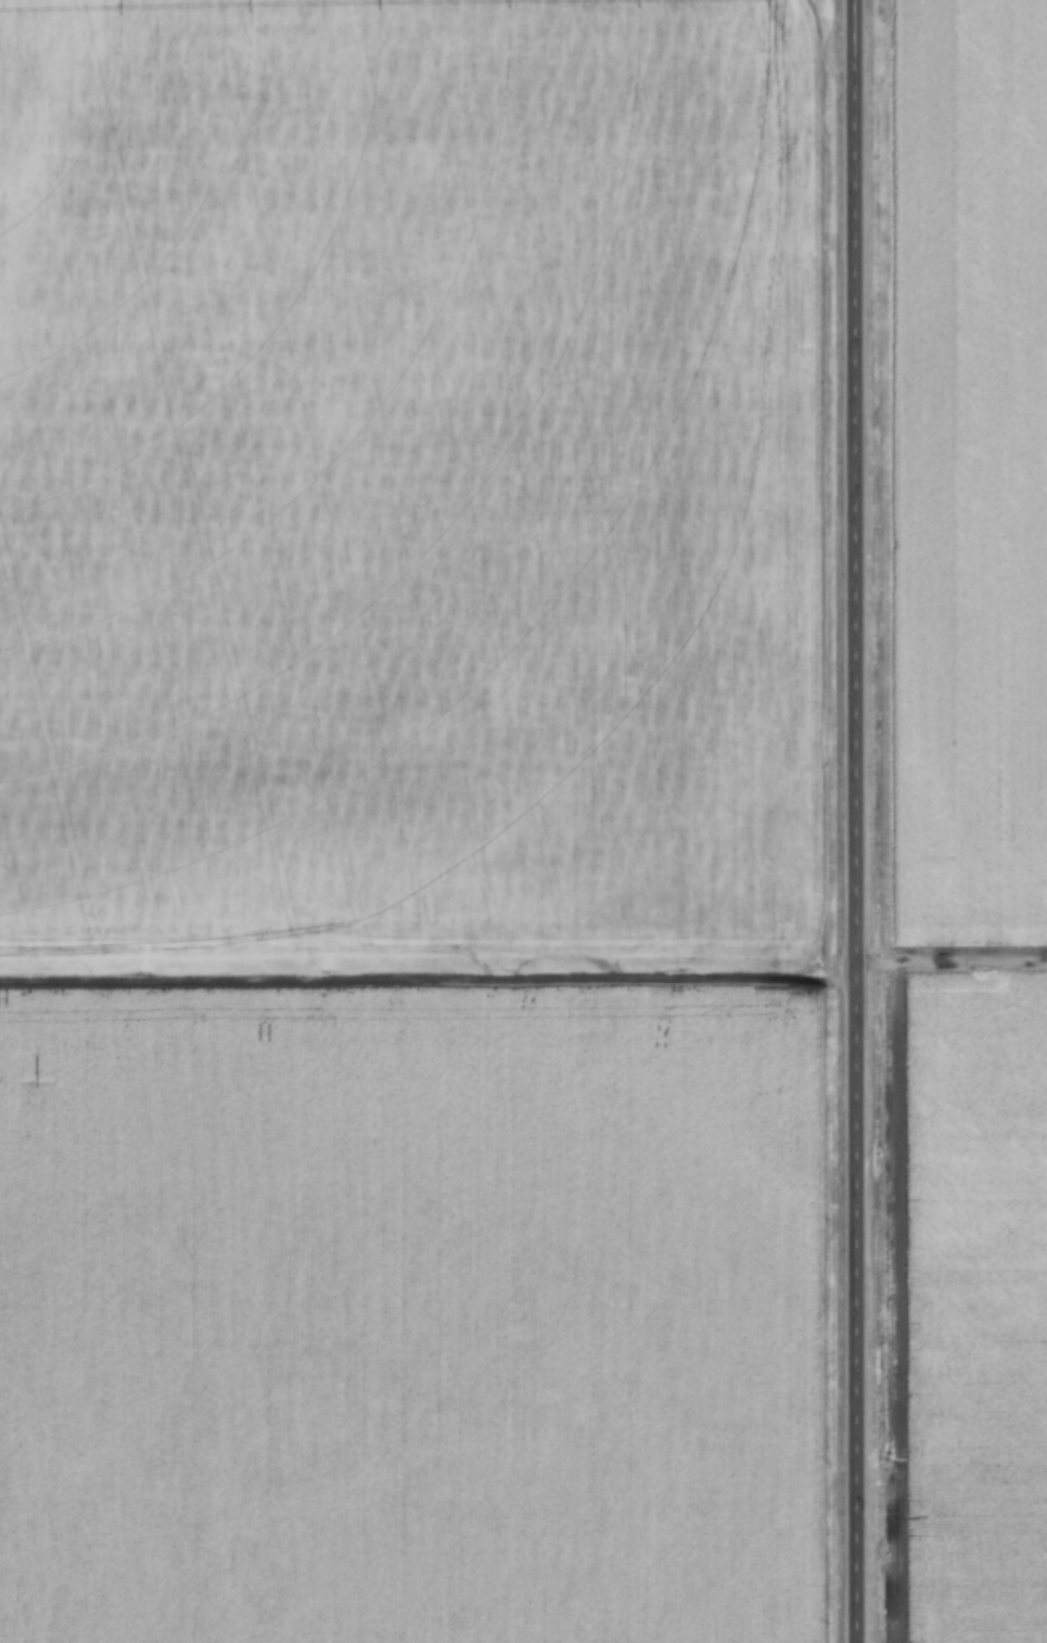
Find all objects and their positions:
crop: (969, 471)
crop: (409, 483)
road: (856, 821)
crop: (971, 1310)
crop: (411, 1314)

